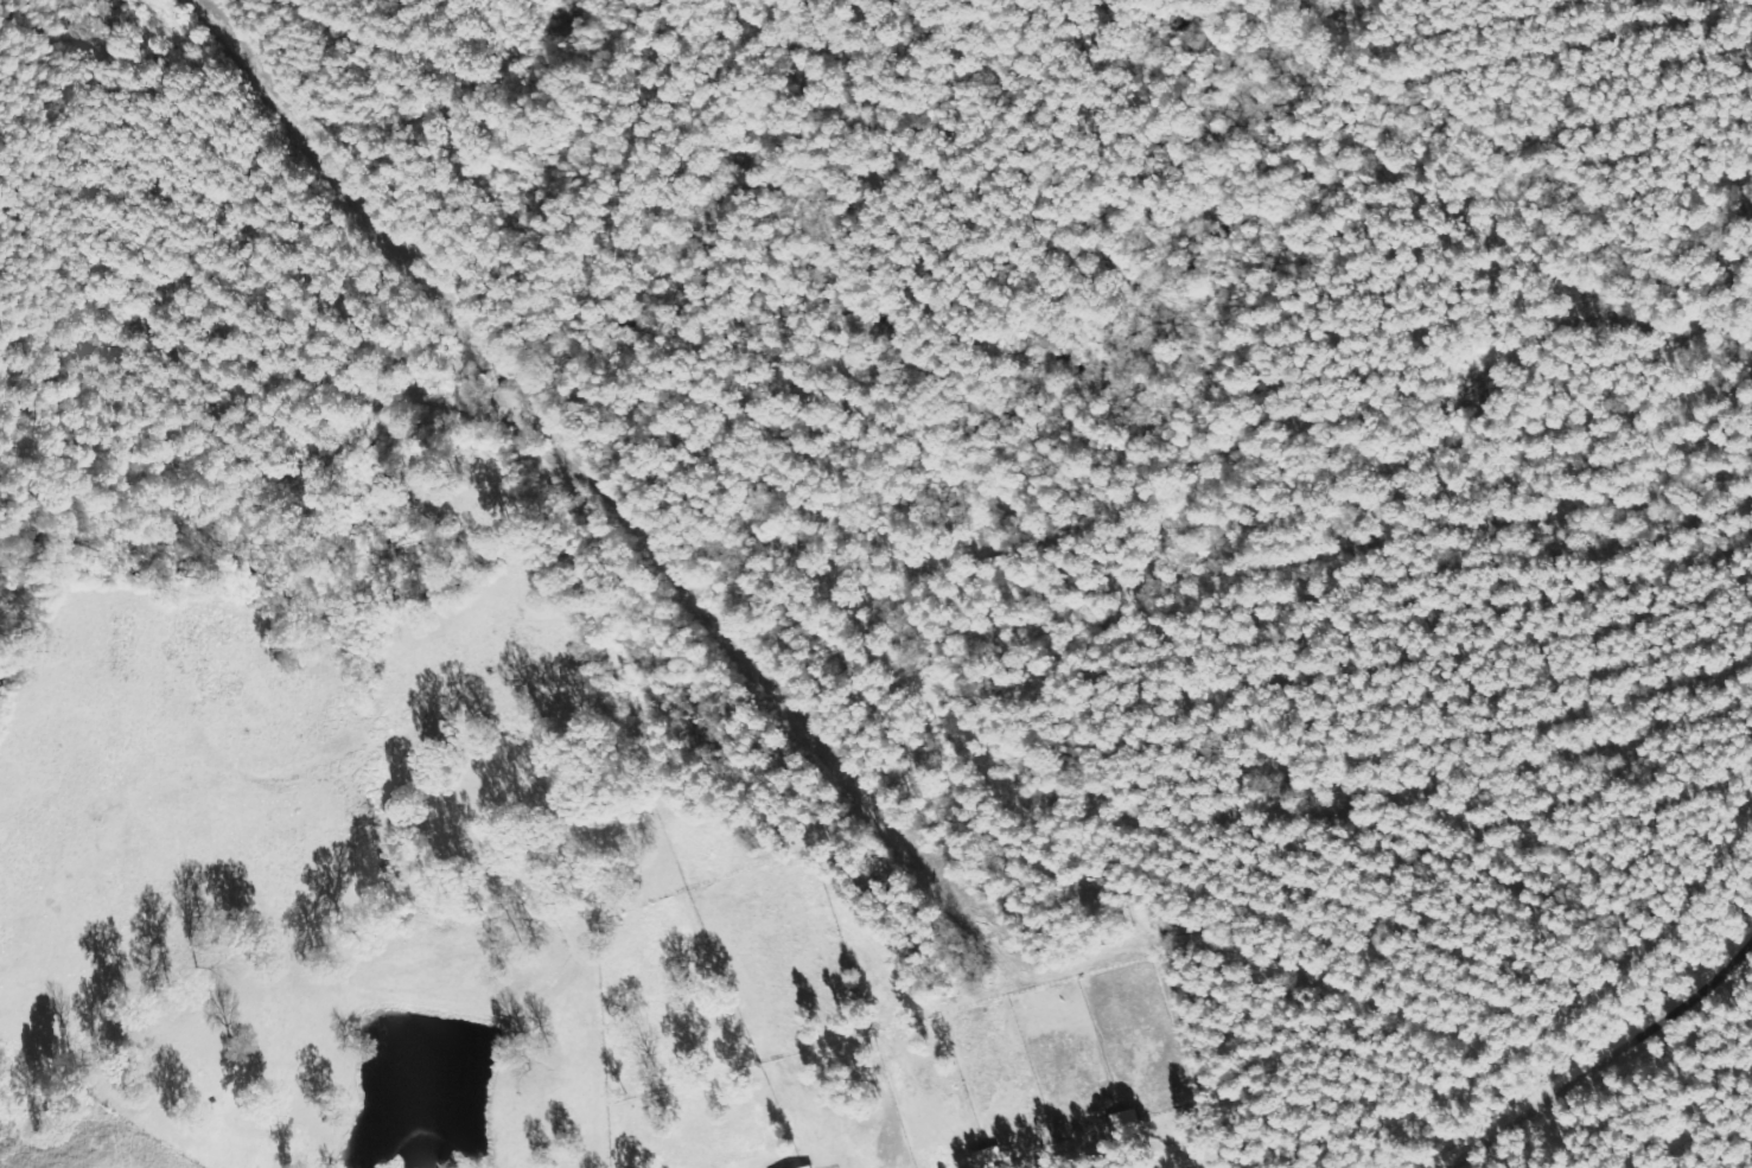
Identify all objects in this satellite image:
building: (813, 1167)

